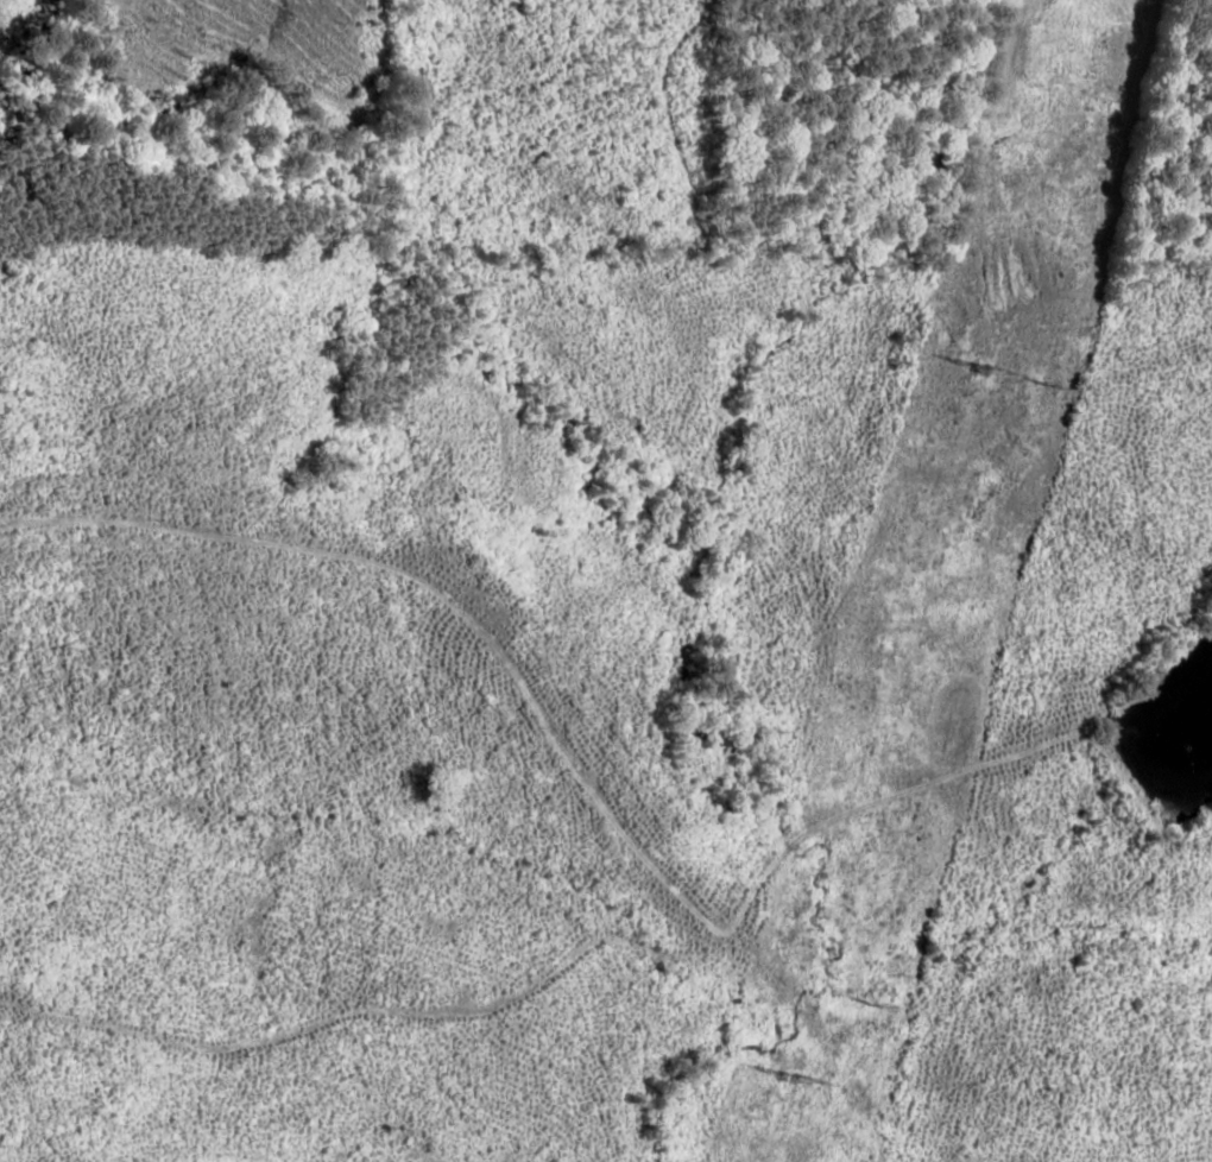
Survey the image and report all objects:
power tower: (973, 368)
power tower: (778, 1087)

